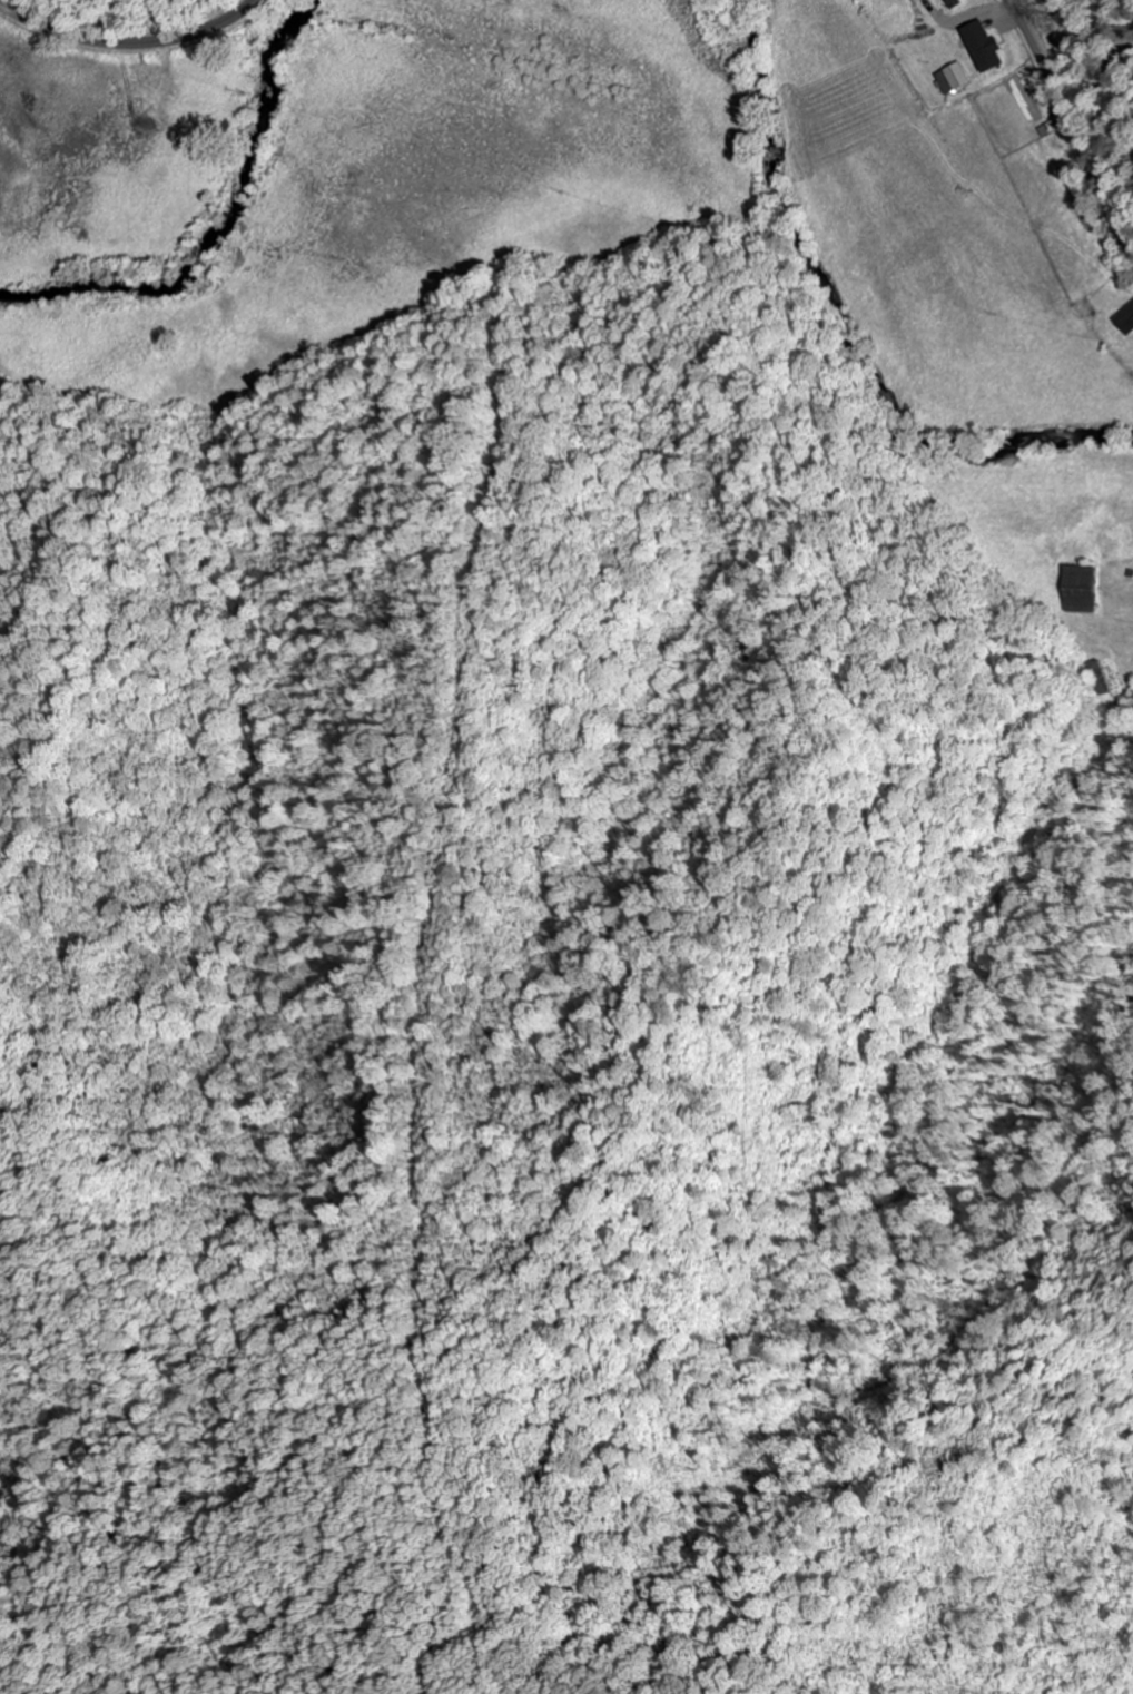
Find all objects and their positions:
road: (134, 46)
building: (987, 47)
building: (955, 78)
road: (1071, 124)
building: (1127, 321)
building: (1083, 589)

